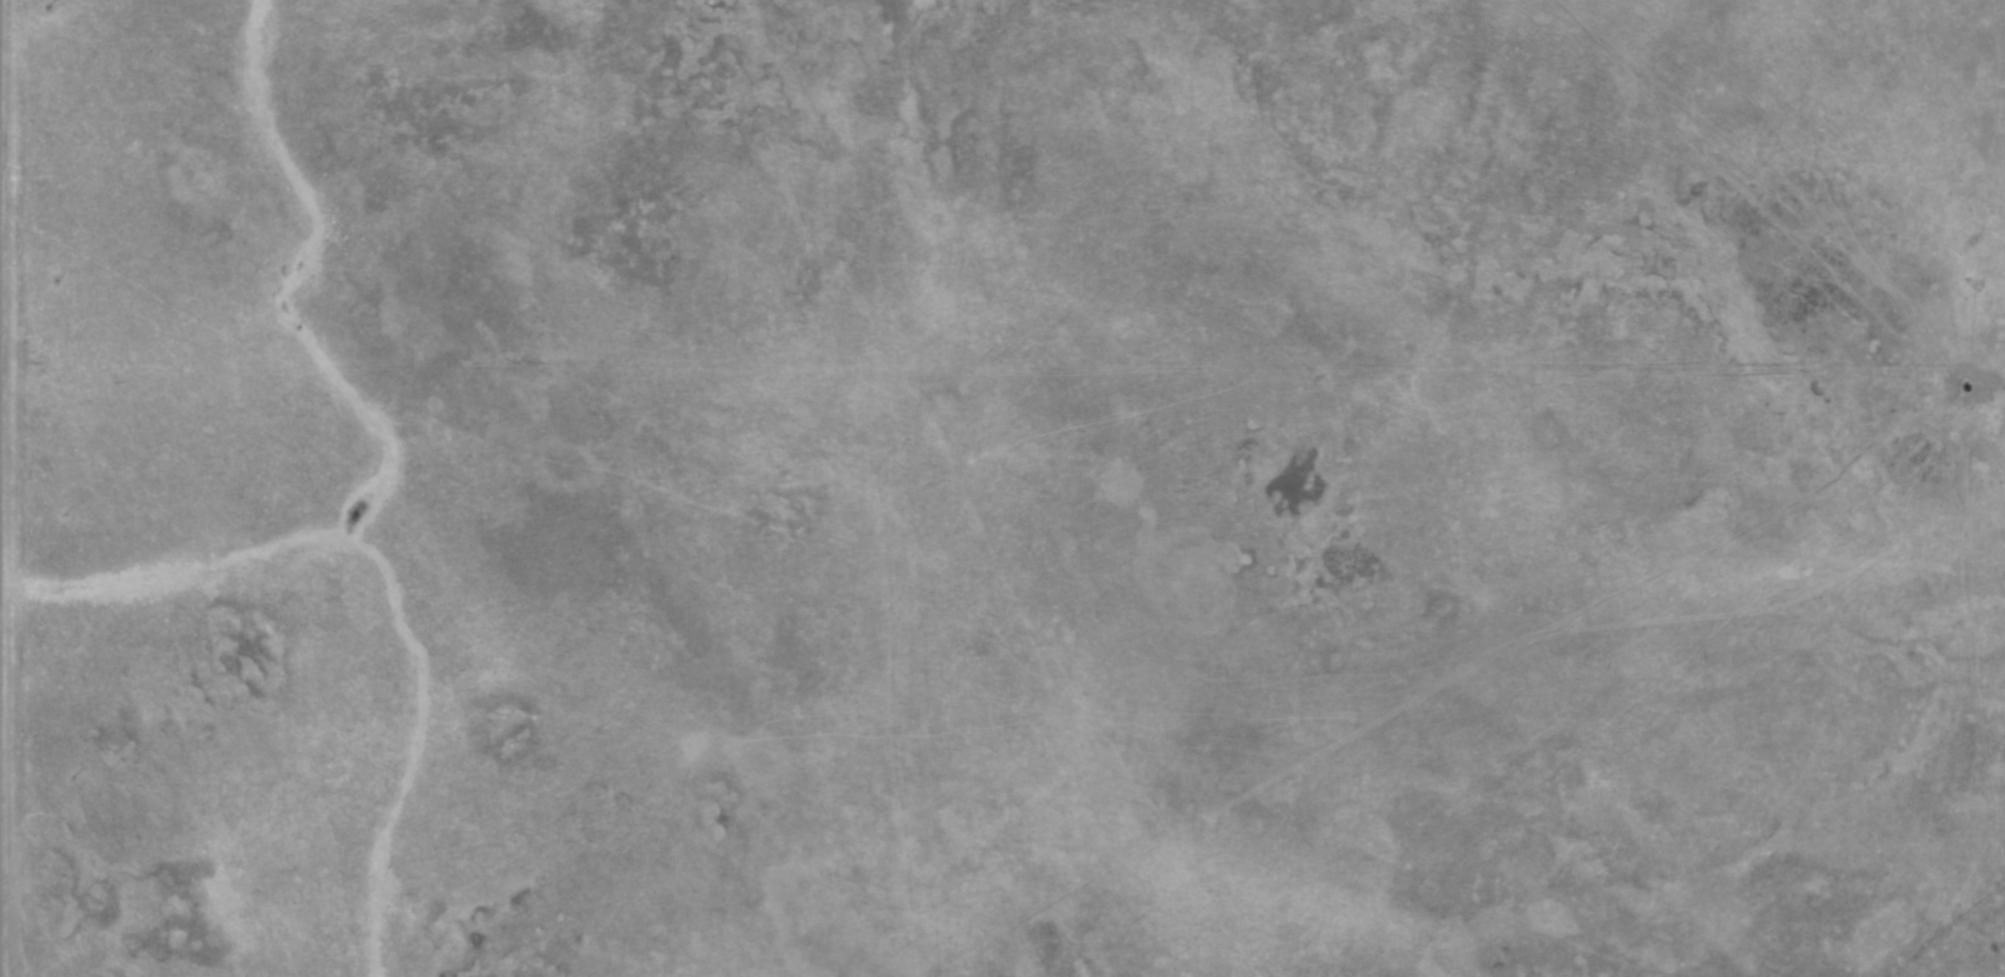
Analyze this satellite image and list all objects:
road: (2, 488)

